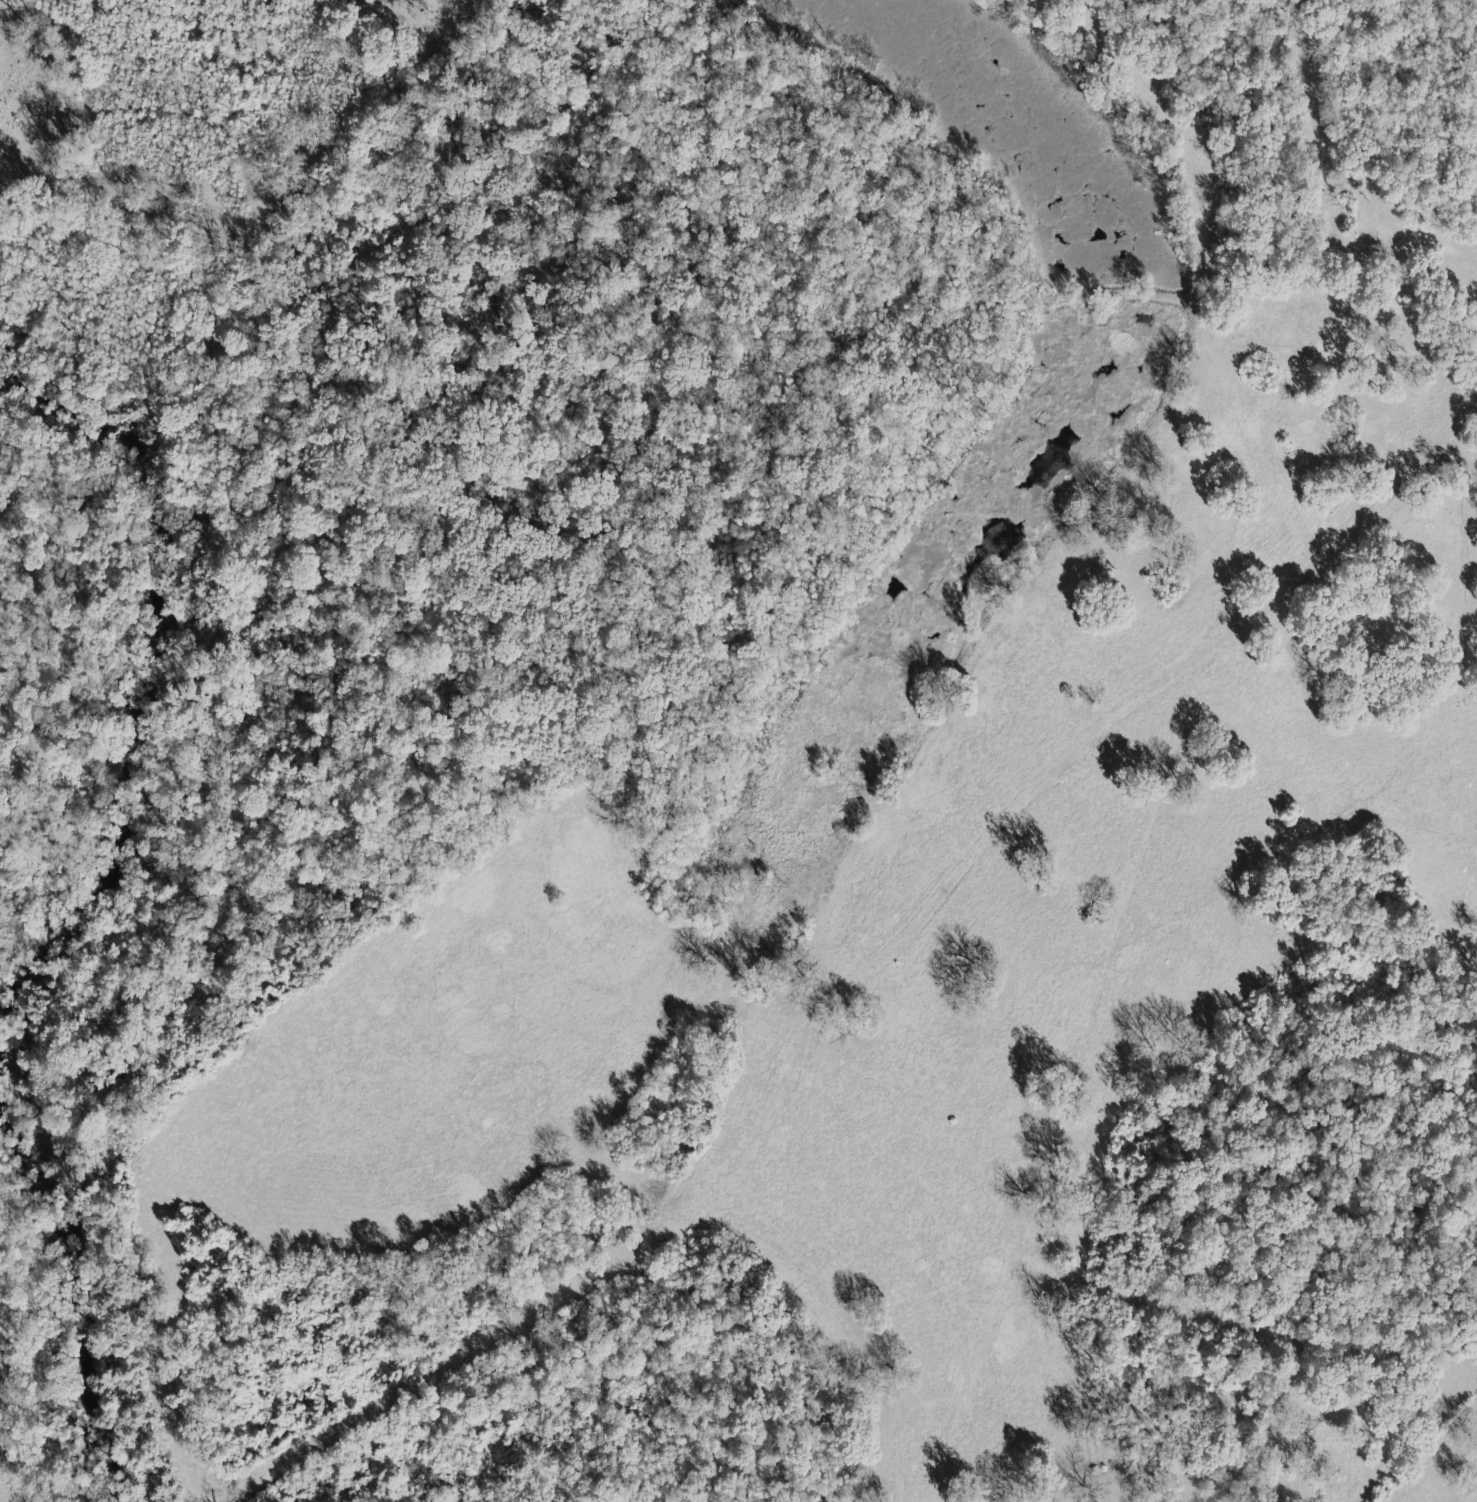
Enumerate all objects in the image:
road: (1166, 687)

